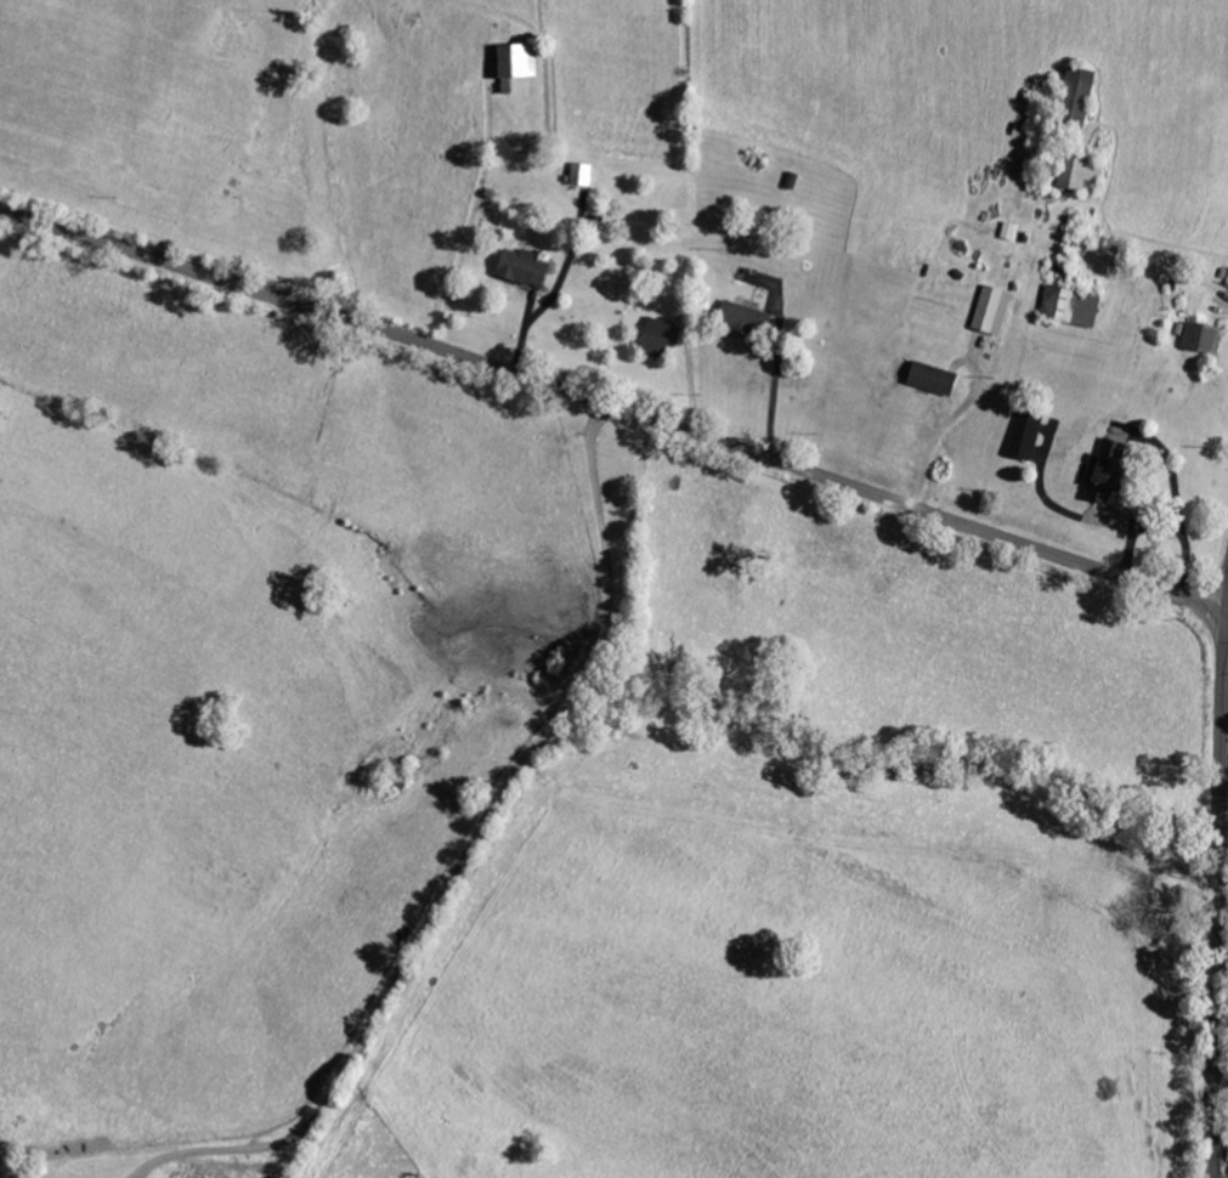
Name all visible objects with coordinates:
building: (521, 62)
building: (1082, 92)
building: (583, 172)
building: (526, 267)
building: (995, 310)
building: (752, 319)
building: (661, 336)
building: (1205, 336)
building: (936, 378)
road: (774, 397)
road: (616, 408)
building: (1026, 434)
building: (1110, 472)
road: (468, 854)
road: (1215, 891)

